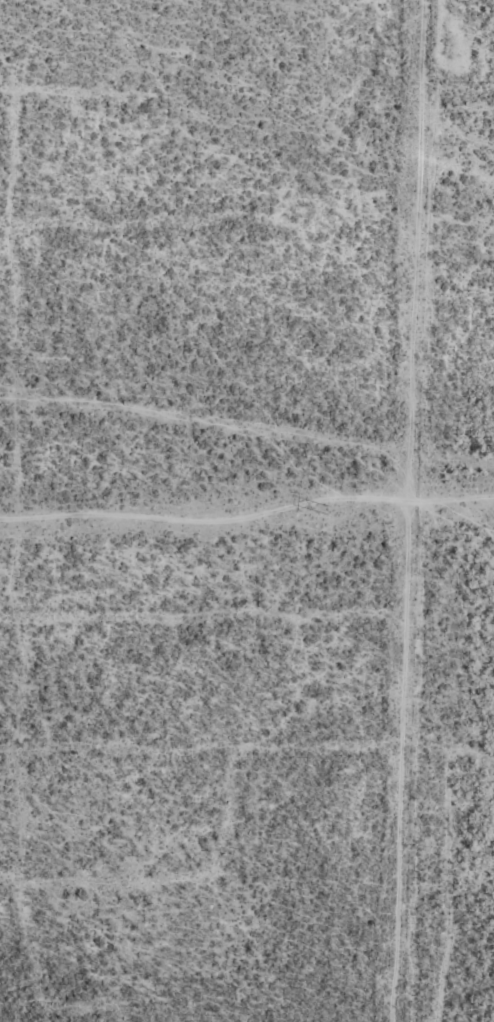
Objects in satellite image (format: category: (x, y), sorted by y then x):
power tower: (328, 510)

